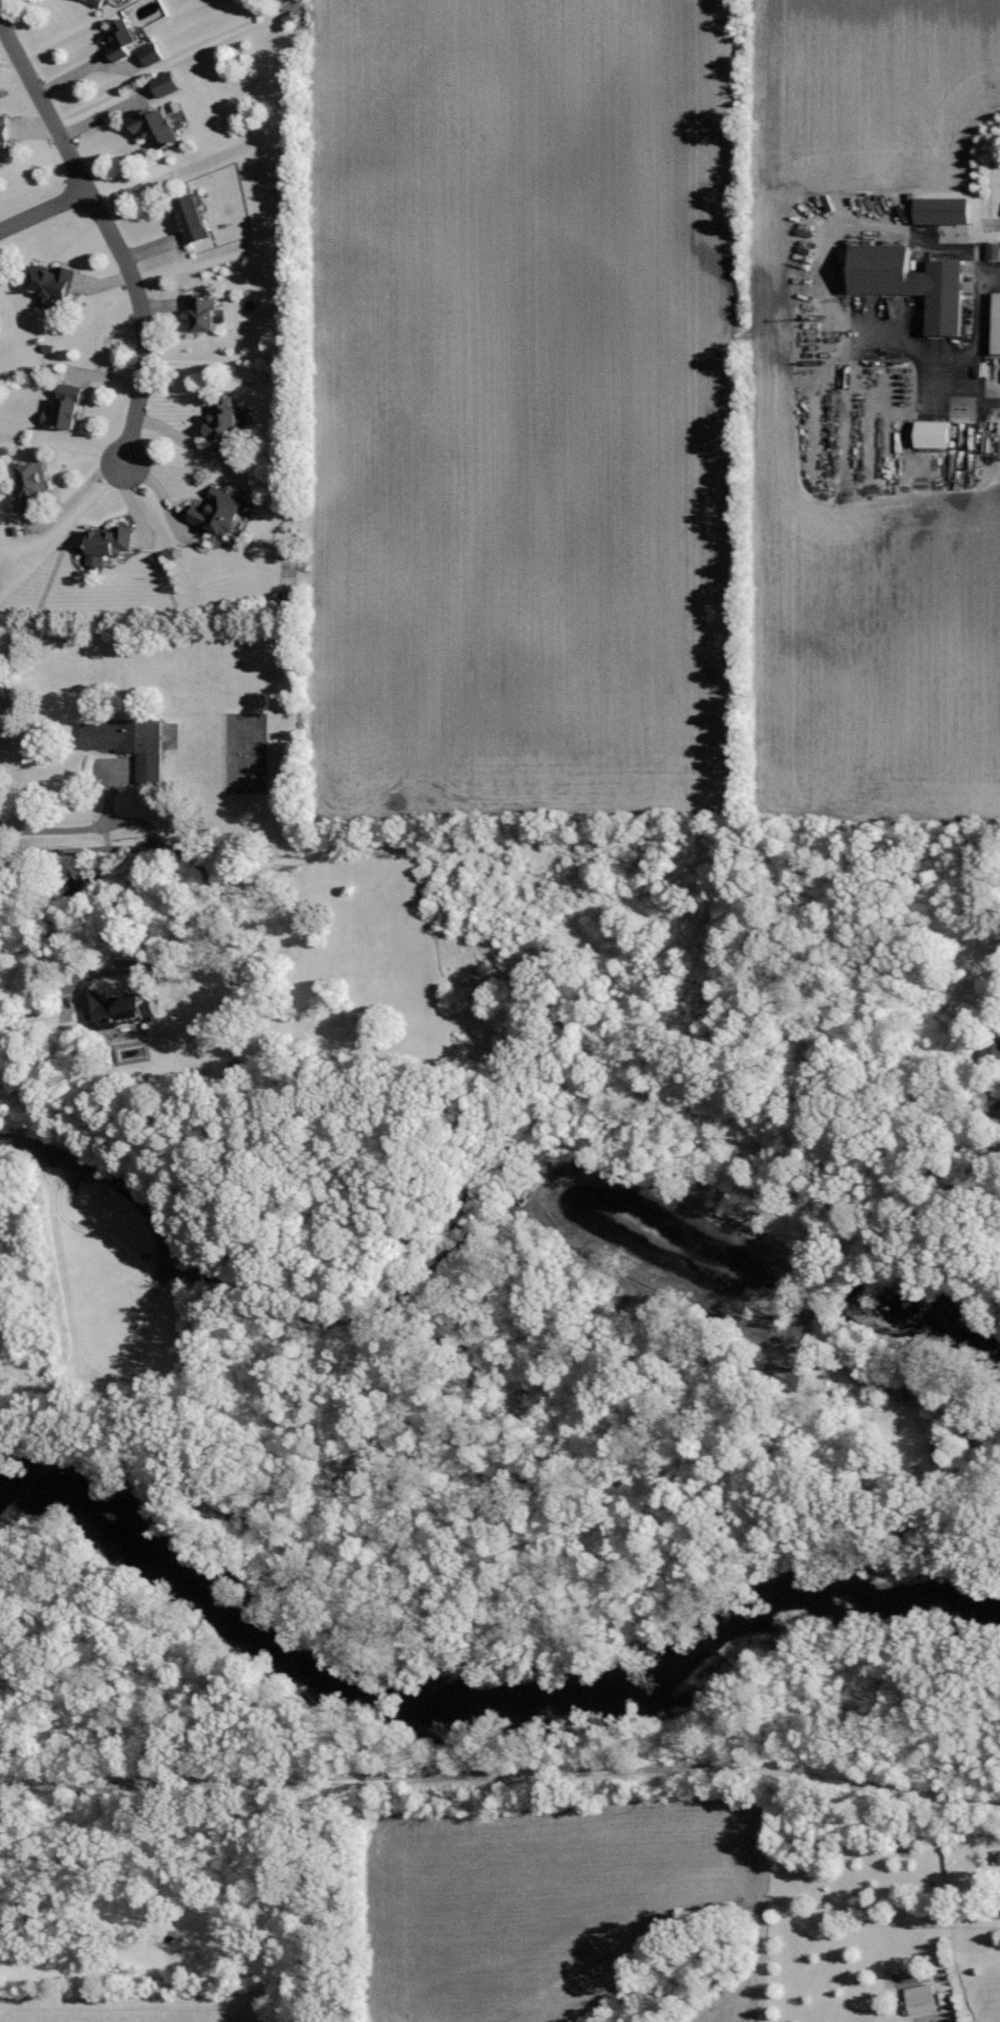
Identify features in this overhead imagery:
building: (96, 2)
building: (121, 40)
building: (151, 55)
building: (165, 85)
building: (155, 129)
building: (3, 132)
road: (43, 210)
building: (944, 211)
building: (191, 220)
road: (110, 233)
building: (993, 252)
building: (912, 284)
building: (52, 285)
building: (203, 314)
building: (996, 325)
road: (979, 339)
building: (65, 408)
building: (222, 421)
building: (934, 436)
building: (30, 487)
building: (217, 513)
building: (107, 545)
building: (129, 745)
road: (153, 839)
building: (116, 1009)
building: (777, 1371)
river: (474, 1695)
road: (502, 1776)
road: (893, 1788)
building: (920, 2001)

